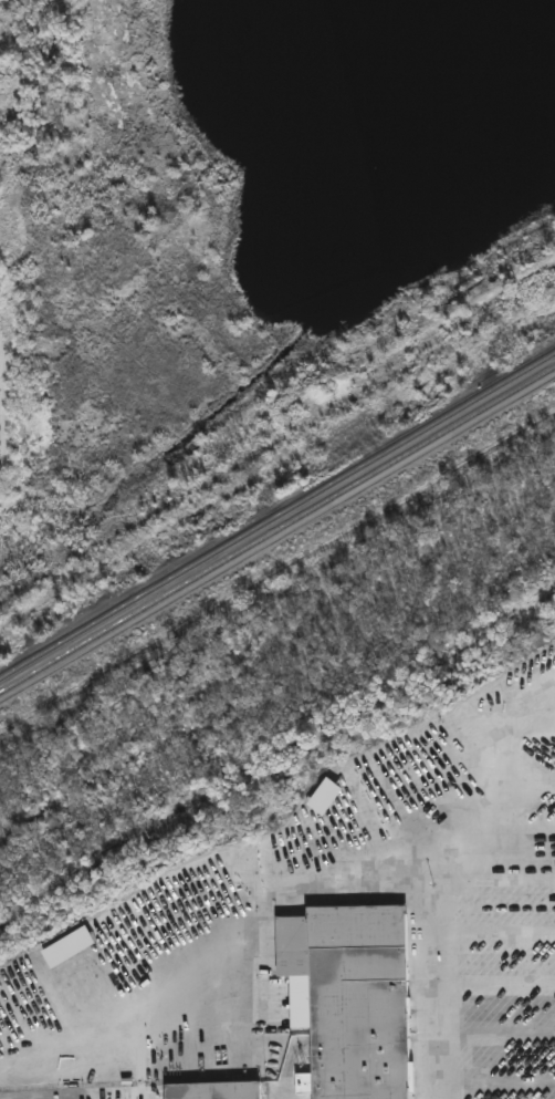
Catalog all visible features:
railway: (277, 515)
railway: (277, 528)
road: (468, 759)
road: (314, 874)
building: (353, 997)
road: (492, 1072)
building: (213, 1091)

